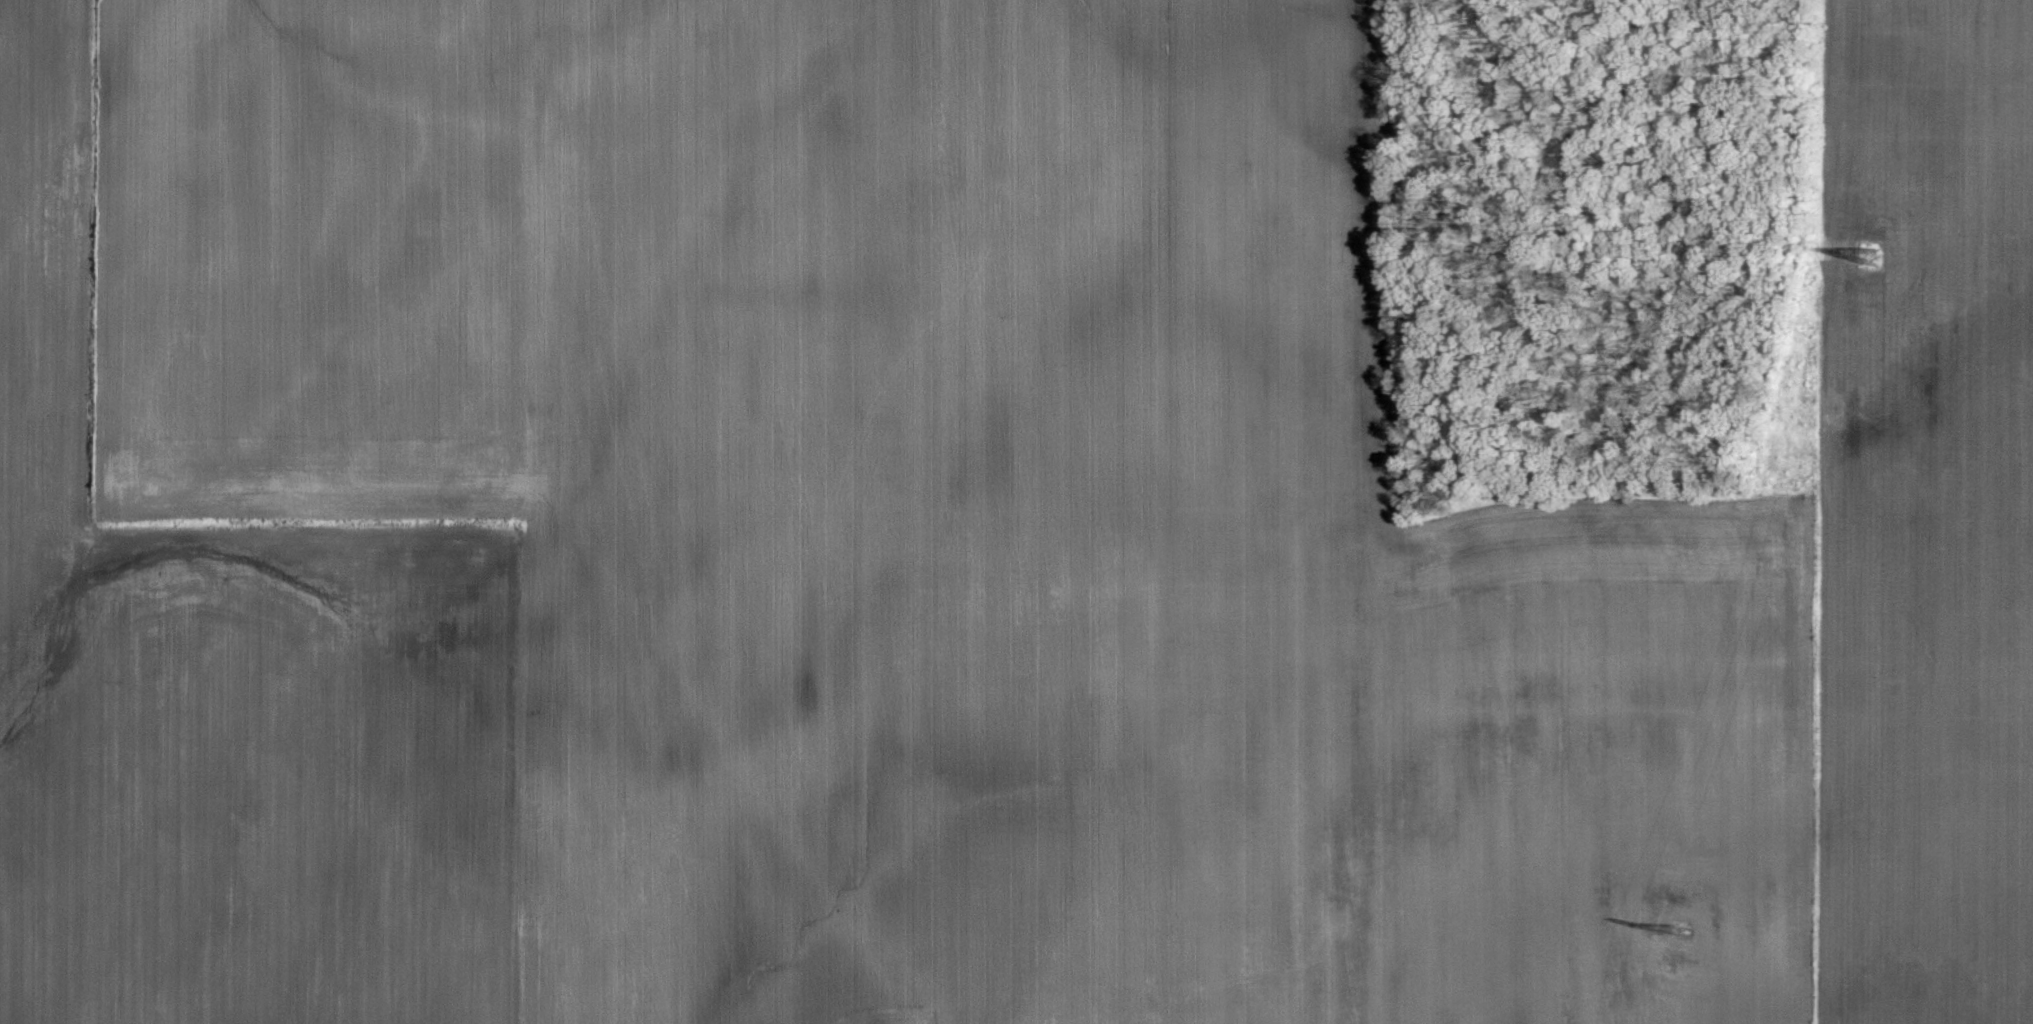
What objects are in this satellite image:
power tower: (1869, 255)
power tower: (1679, 930)

